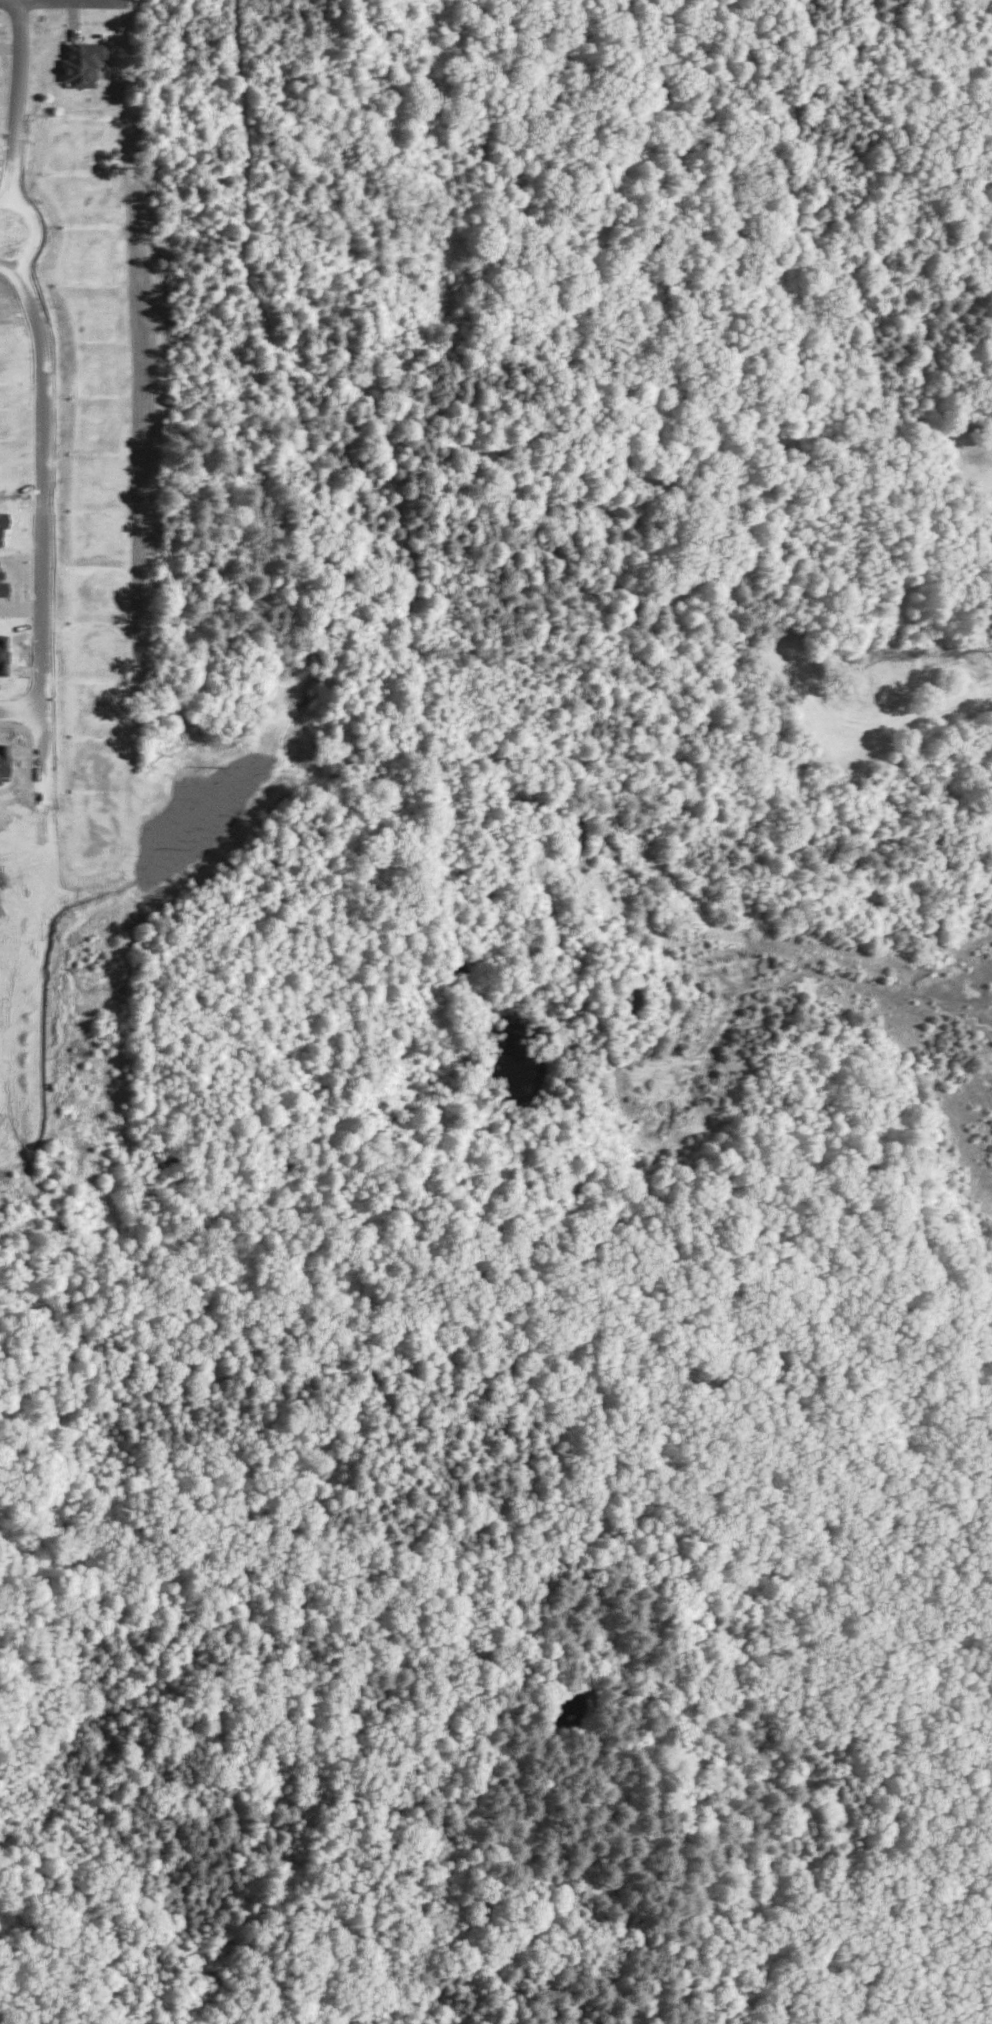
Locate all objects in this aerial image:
building: (80, 62)
road: (16, 73)
road: (2, 232)
road: (43, 442)
building: (3, 522)
building: (3, 585)
building: (4, 654)
building: (4, 759)

